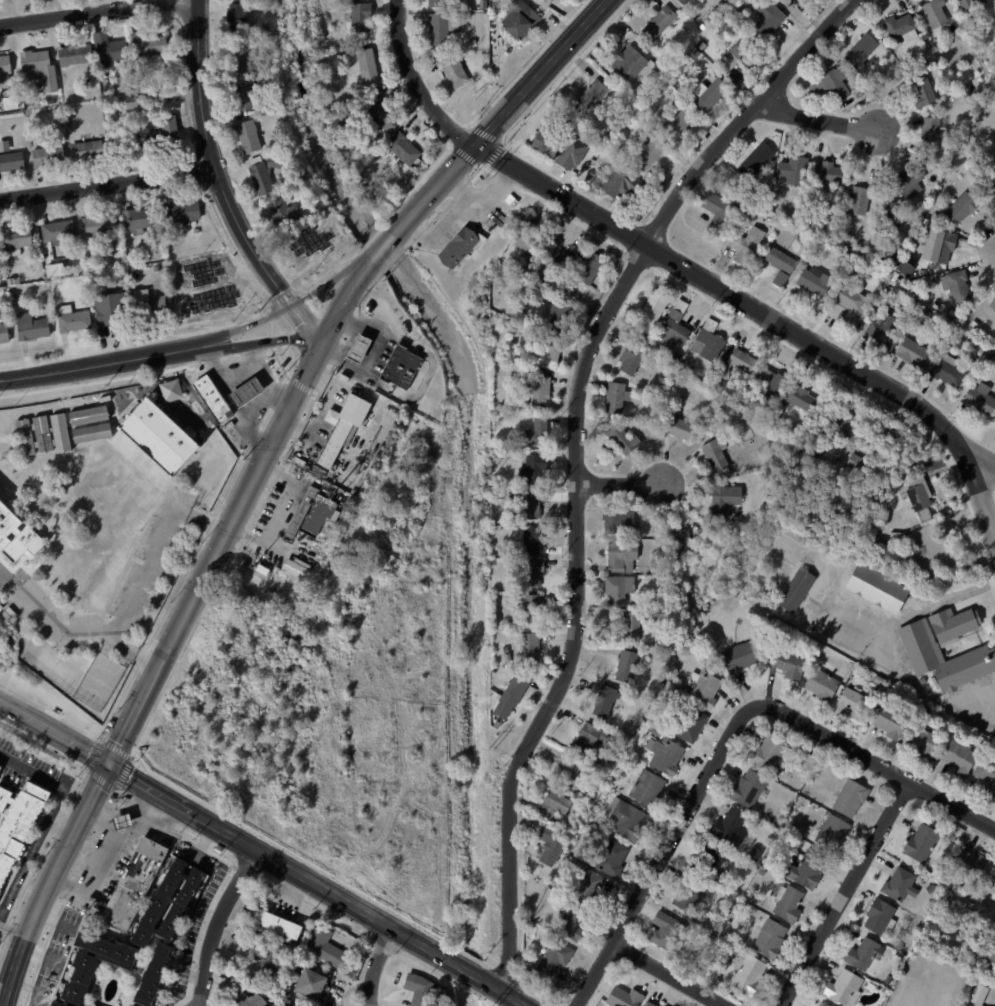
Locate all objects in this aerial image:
building: (548, 0)
building: (680, 1)
building: (784, 1)
building: (963, 3)
building: (440, 4)
road: (84, 12)
building: (932, 12)
building: (710, 16)
building: (363, 18)
building: (523, 19)
building: (239, 20)
building: (768, 20)
building: (659, 23)
building: (900, 27)
building: (442, 28)
building: (278, 44)
building: (682, 44)
building: (894, 44)
building: (152, 45)
building: (703, 47)
building: (111, 49)
building: (925, 50)
building: (858, 51)
building: (739, 54)
building: (78, 55)
building: (487, 55)
building: (243, 59)
building: (36, 60)
building: (628, 63)
building: (6, 64)
building: (926, 65)
building: (369, 66)
building: (661, 68)
building: (130, 69)
building: (456, 72)
building: (851, 81)
road: (415, 83)
building: (869, 83)
building: (830, 84)
building: (662, 86)
building: (994, 90)
building: (921, 92)
building: (706, 93)
building: (589, 95)
building: (250, 96)
building: (51, 100)
building: (132, 102)
building: (356, 115)
building: (385, 117)
road: (499, 117)
road: (815, 118)
building: (341, 121)
building: (628, 123)
building: (677, 125)
building: (927, 134)
building: (616, 136)
building: (251, 138)
building: (167, 140)
building: (125, 146)
building: (559, 149)
building: (782, 149)
building: (89, 150)
building: (406, 150)
building: (647, 154)
building: (50, 156)
building: (11, 158)
building: (754, 160)
road: (213, 162)
building: (788, 172)
building: (825, 173)
building: (266, 175)
power tower: (489, 176)
building: (618, 181)
building: (904, 181)
road: (107, 185)
building: (286, 186)
building: (734, 190)
building: (991, 191)
building: (791, 198)
building: (859, 198)
building: (890, 208)
building: (960, 209)
building: (185, 213)
building: (716, 213)
building: (285, 214)
building: (139, 220)
building: (100, 225)
building: (197, 230)
building: (60, 231)
building: (18, 238)
building: (827, 238)
building: (531, 239)
building: (460, 242)
building: (743, 245)
building: (935, 245)
road: (382, 247)
building: (103, 252)
building: (133, 258)
building: (565, 258)
building: (777, 259)
building: (158, 269)
building: (593, 269)
building: (902, 269)
building: (42, 278)
building: (777, 279)
building: (13, 281)
building: (813, 282)
building: (522, 283)
building: (877, 283)
building: (955, 286)
building: (855, 287)
building: (27, 291)
building: (88, 291)
building: (873, 292)
building: (14, 296)
building: (992, 303)
building: (152, 305)
building: (850, 305)
road: (287, 307)
building: (675, 307)
building: (649, 308)
building: (113, 309)
building: (5, 311)
road: (762, 313)
building: (562, 315)
building: (927, 317)
building: (74, 319)
road: (311, 320)
building: (973, 324)
building: (31, 326)
road: (300, 328)
building: (880, 332)
building: (4, 333)
building: (671, 333)
building: (708, 341)
road: (260, 342)
building: (358, 348)
gas station: (358, 348)
building: (911, 354)
building: (548, 355)
building: (629, 357)
building: (986, 358)
building: (737, 363)
road: (99, 364)
building: (401, 367)
road: (225, 370)
building: (944, 372)
building: (769, 382)
building: (171, 389)
building: (541, 390)
building: (118, 392)
building: (245, 392)
gas station: (245, 392)
road: (283, 392)
building: (614, 396)
building: (211, 398)
road: (262, 398)
building: (797, 398)
building: (978, 399)
building: (759, 404)
building: (88, 414)
building: (755, 418)
building: (342, 427)
building: (678, 427)
building: (842, 427)
building: (536, 431)
building: (60, 432)
building: (91, 432)
building: (42, 433)
building: (24, 437)
building: (158, 437)
building: (621, 439)
building: (497, 446)
building: (713, 454)
road: (576, 457)
building: (854, 461)
road: (985, 467)
building: (534, 468)
power tower: (490, 476)
road: (620, 484)
building: (353, 492)
building: (919, 496)
building: (723, 499)
building: (529, 504)
building: (313, 513)
road: (282, 514)
road: (231, 520)
building: (617, 520)
building: (16, 534)
building: (537, 539)
building: (874, 539)
building: (680, 541)
road: (158, 544)
building: (620, 556)
building: (262, 570)
building: (296, 570)
building: (536, 573)
road: (5, 576)
building: (512, 584)
building: (617, 587)
building: (875, 588)
building: (794, 590)
building: (534, 608)
building: (950, 623)
building: (629, 625)
road: (82, 629)
building: (499, 632)
building: (507, 650)
building: (532, 650)
building: (737, 655)
building: (508, 658)
building: (973, 658)
building: (785, 662)
building: (624, 664)
park: (52, 667)
building: (877, 679)
park: (99, 681)
building: (821, 684)
building: (702, 688)
road: (922, 688)
building: (513, 695)
building: (602, 700)
building: (630, 705)
building: (852, 705)
road: (51, 712)
building: (889, 720)
building: (689, 724)
road: (54, 730)
building: (656, 732)
road: (729, 735)
building: (585, 737)
building: (921, 740)
building: (979, 741)
power tower: (490, 747)
road: (116, 748)
building: (771, 752)
road: (95, 755)
building: (666, 755)
building: (957, 756)
road: (133, 757)
building: (803, 760)
traffic signals: (109, 762)
building: (0, 766)
building: (565, 771)
building: (986, 774)
road: (44, 777)
building: (746, 787)
building: (645, 788)
road: (115, 790)
building: (848, 797)
building: (550, 805)
road: (83, 809)
road: (96, 811)
road: (109, 813)
road: (64, 819)
building: (623, 819)
building: (123, 820)
gas station: (123, 820)
road: (163, 822)
building: (18, 823)
building: (728, 827)
building: (829, 831)
road: (204, 840)
building: (921, 842)
building: (548, 844)
road: (65, 848)
building: (751, 852)
road: (86, 853)
road: (109, 855)
building: (609, 857)
building: (967, 861)
building: (707, 862)
road: (284, 865)
building: (804, 868)
building: (761, 872)
building: (926, 873)
building: (135, 883)
building: (898, 884)
road: (46, 886)
building: (991, 886)
building: (928, 887)
building: (586, 889)
building: (688, 894)
road: (844, 894)
building: (967, 900)
building: (786, 902)
building: (877, 916)
road: (54, 920)
building: (570, 921)
road: (29, 922)
road: (217, 923)
building: (163, 924)
building: (275, 924)
road: (12, 929)
building: (664, 931)
building: (767, 938)
road: (23, 941)
building: (324, 946)
building: (897, 949)
building: (861, 953)
road: (41, 954)
building: (264, 956)
building: (990, 956)
building: (552, 957)
road: (14, 964)
building: (95, 964)
road: (376, 965)
road: (470, 972)
building: (746, 974)
road: (669, 975)
building: (308, 982)
building: (842, 987)
road: (30, 988)
building: (418, 989)
road: (503, 991)
road: (6, 994)
building: (977, 994)
building: (621, 997)
building: (246, 999)
building: (645, 1004)
building: (820, 1004)
building: (56, 1005)
building: (131, 1005)

